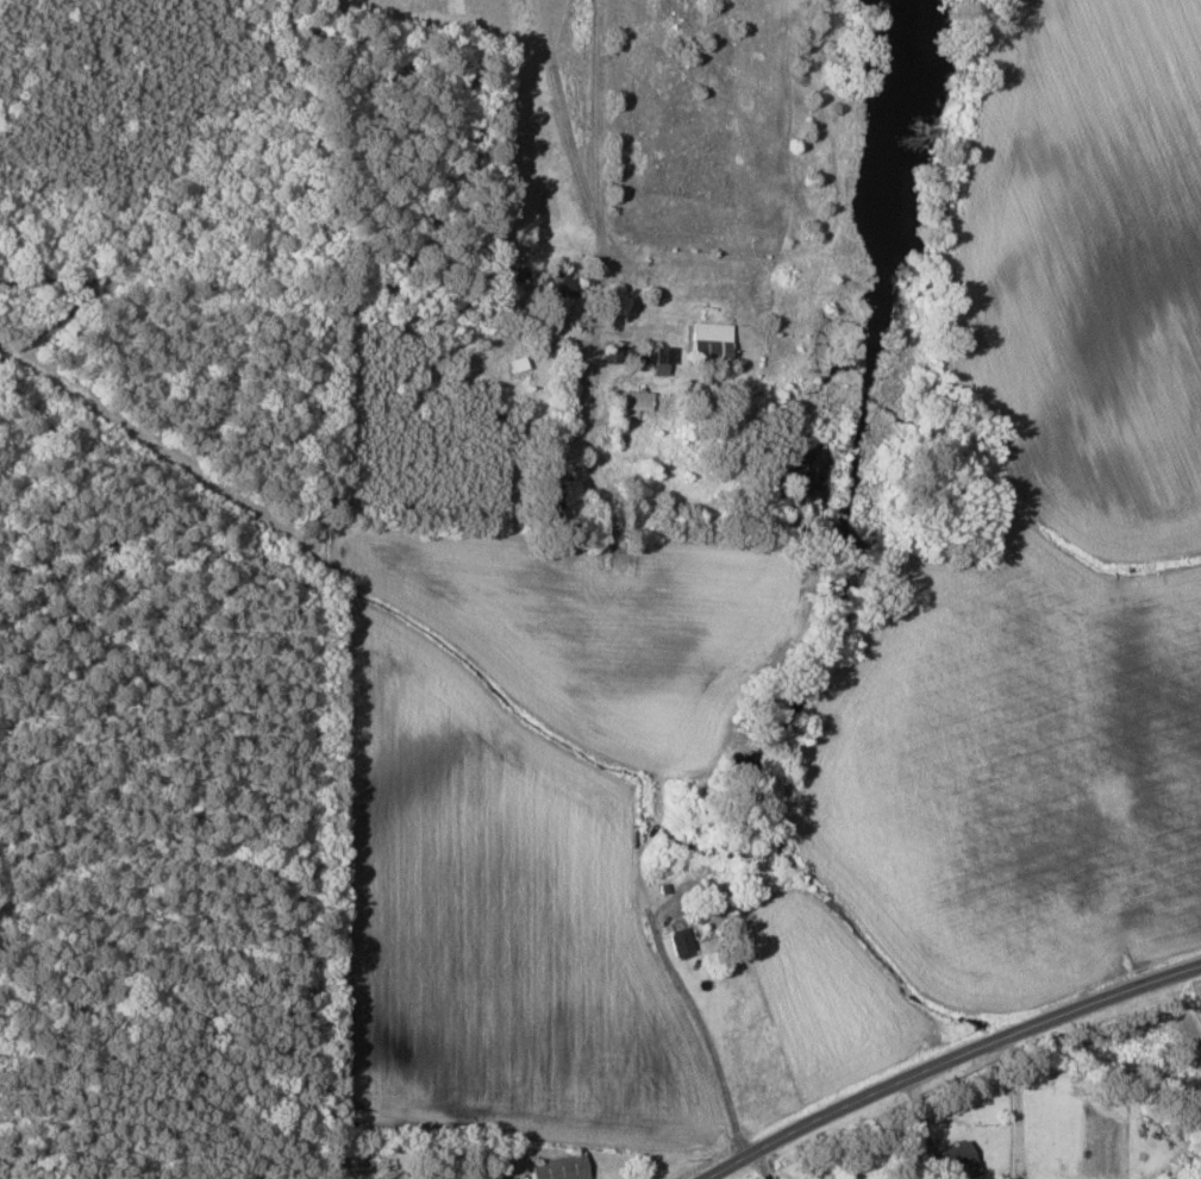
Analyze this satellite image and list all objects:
road: (603, 238)
building: (561, 284)
building: (712, 341)
building: (661, 359)
building: (634, 401)
road: (708, 1040)
road: (955, 1066)
building: (955, 1160)
building: (559, 1167)
building: (394, 1177)

